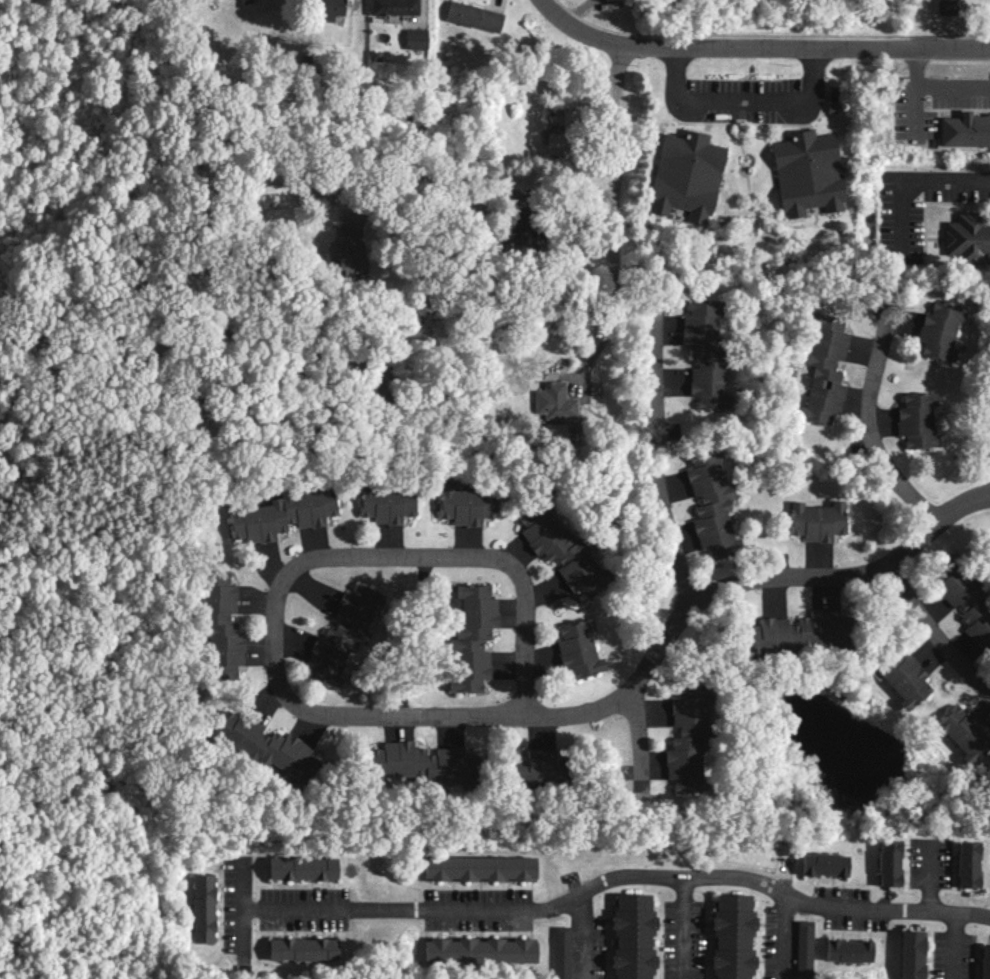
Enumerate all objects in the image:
building: (606, 0)
building: (244, 1)
building: (392, 7)
building: (946, 7)
building: (325, 9)
building: (472, 16)
building: (414, 38)
road: (759, 46)
road: (951, 87)
road: (913, 91)
road: (740, 102)
building: (964, 129)
building: (806, 173)
building: (686, 175)
road: (912, 182)
road: (543, 187)
building: (524, 235)
building: (968, 239)
road: (611, 285)
building: (938, 330)
building: (705, 354)
building: (822, 369)
building: (553, 401)
building: (916, 420)
road: (871, 425)
road: (661, 455)
building: (385, 503)
building: (710, 503)
building: (464, 505)
building: (281, 514)
building: (816, 520)
building: (559, 549)
road: (742, 584)
road: (278, 585)
building: (964, 599)
building: (220, 625)
building: (801, 633)
road: (937, 634)
building: (341, 635)
building: (471, 638)
building: (577, 649)
building: (903, 678)
road: (639, 724)
building: (963, 732)
building: (686, 738)
building: (265, 747)
building: (422, 764)
building: (539, 770)
road: (640, 775)
building: (887, 862)
building: (822, 864)
building: (966, 864)
building: (485, 868)
building: (308, 870)
road: (609, 877)
road: (929, 880)
building: (205, 910)
road: (681, 925)
road: (576, 933)
road: (780, 934)
building: (632, 936)
building: (732, 936)
road: (953, 947)
building: (803, 948)
building: (308, 949)
building: (482, 950)
building: (847, 951)
building: (560, 952)
building: (911, 954)
building: (984, 962)

